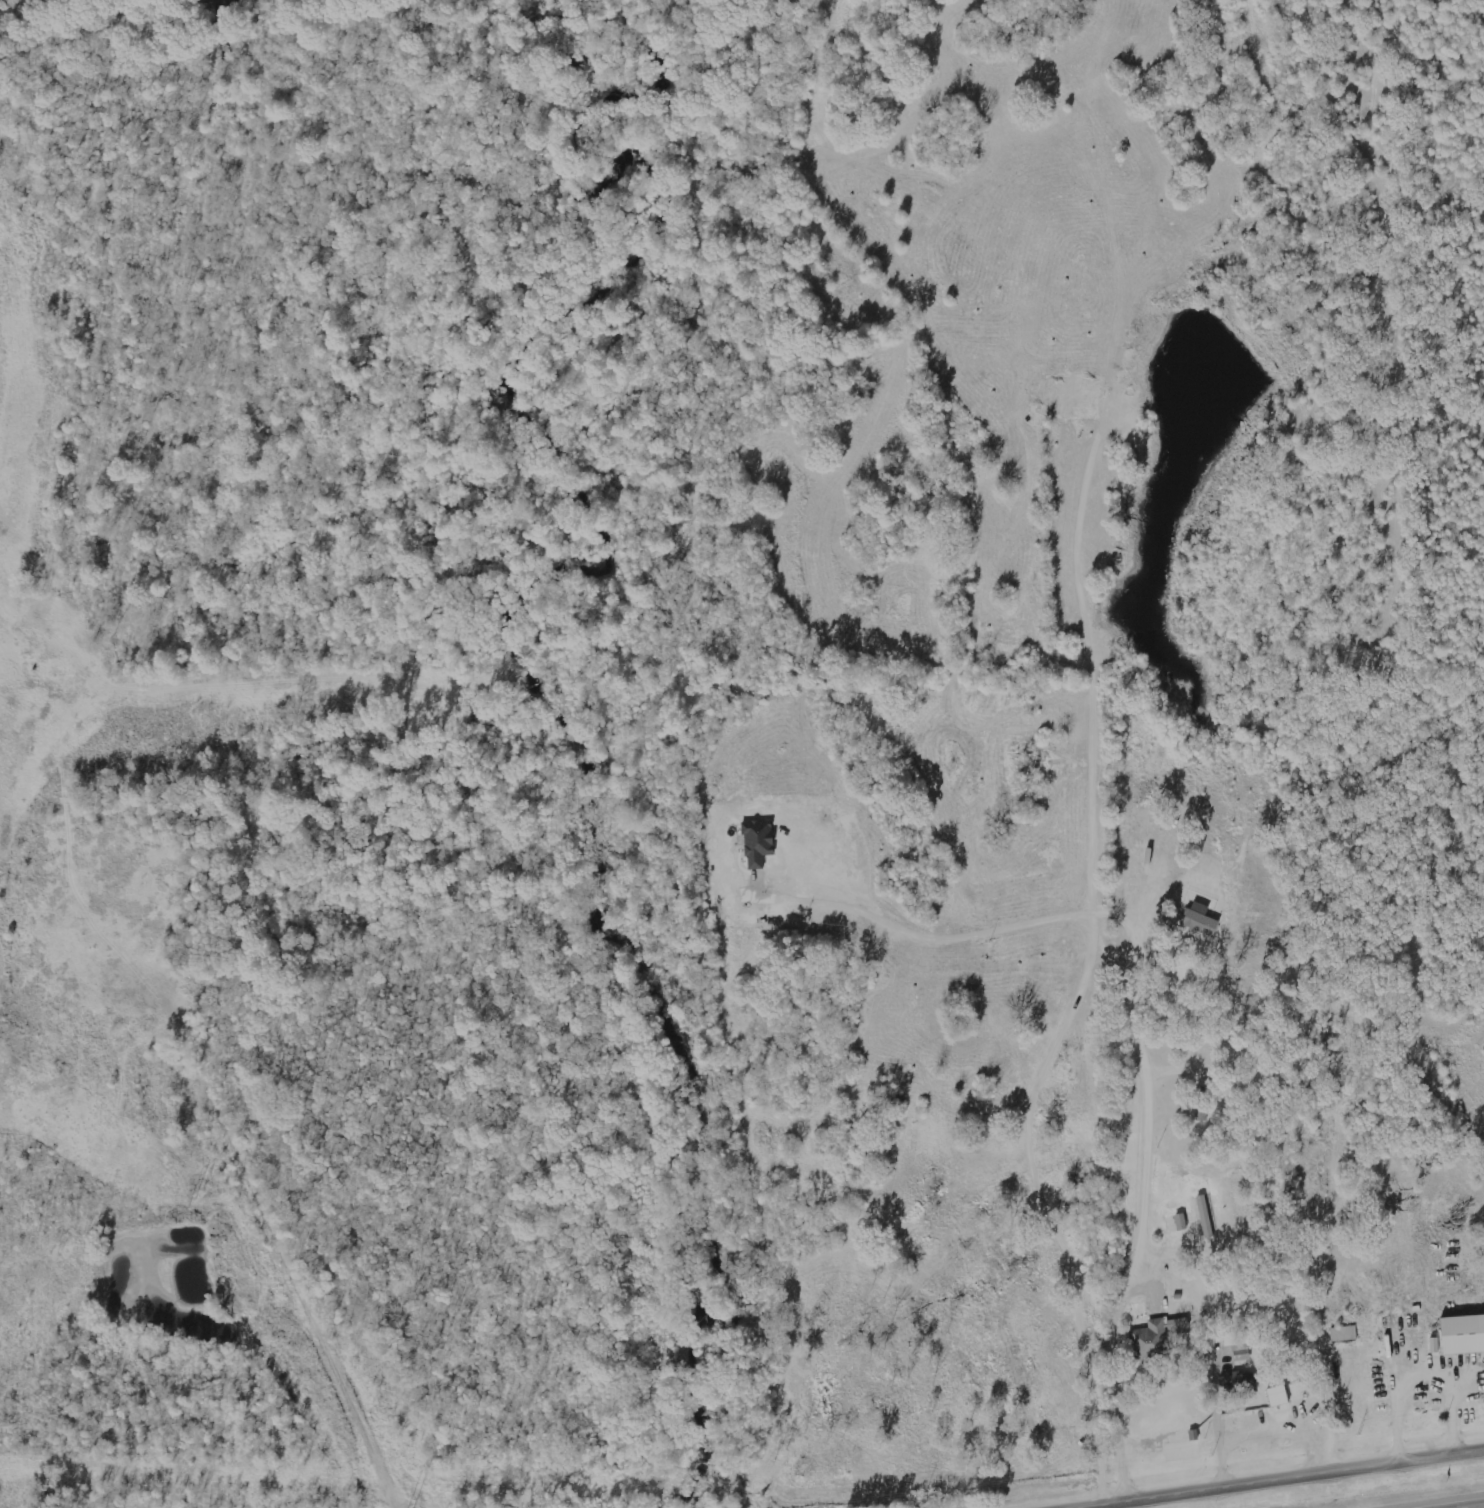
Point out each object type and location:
railway: (106, 26)
building: (1201, 919)
building: (1199, 1108)
building: (1209, 1215)
building: (1464, 1333)
building: (1156, 1337)
road: (1325, 1346)
building: (1241, 1380)
building: (1279, 1395)
road: (1215, 1404)
road: (1394, 1408)
road: (1265, 1435)
road: (1265, 1474)
road: (1437, 1501)

